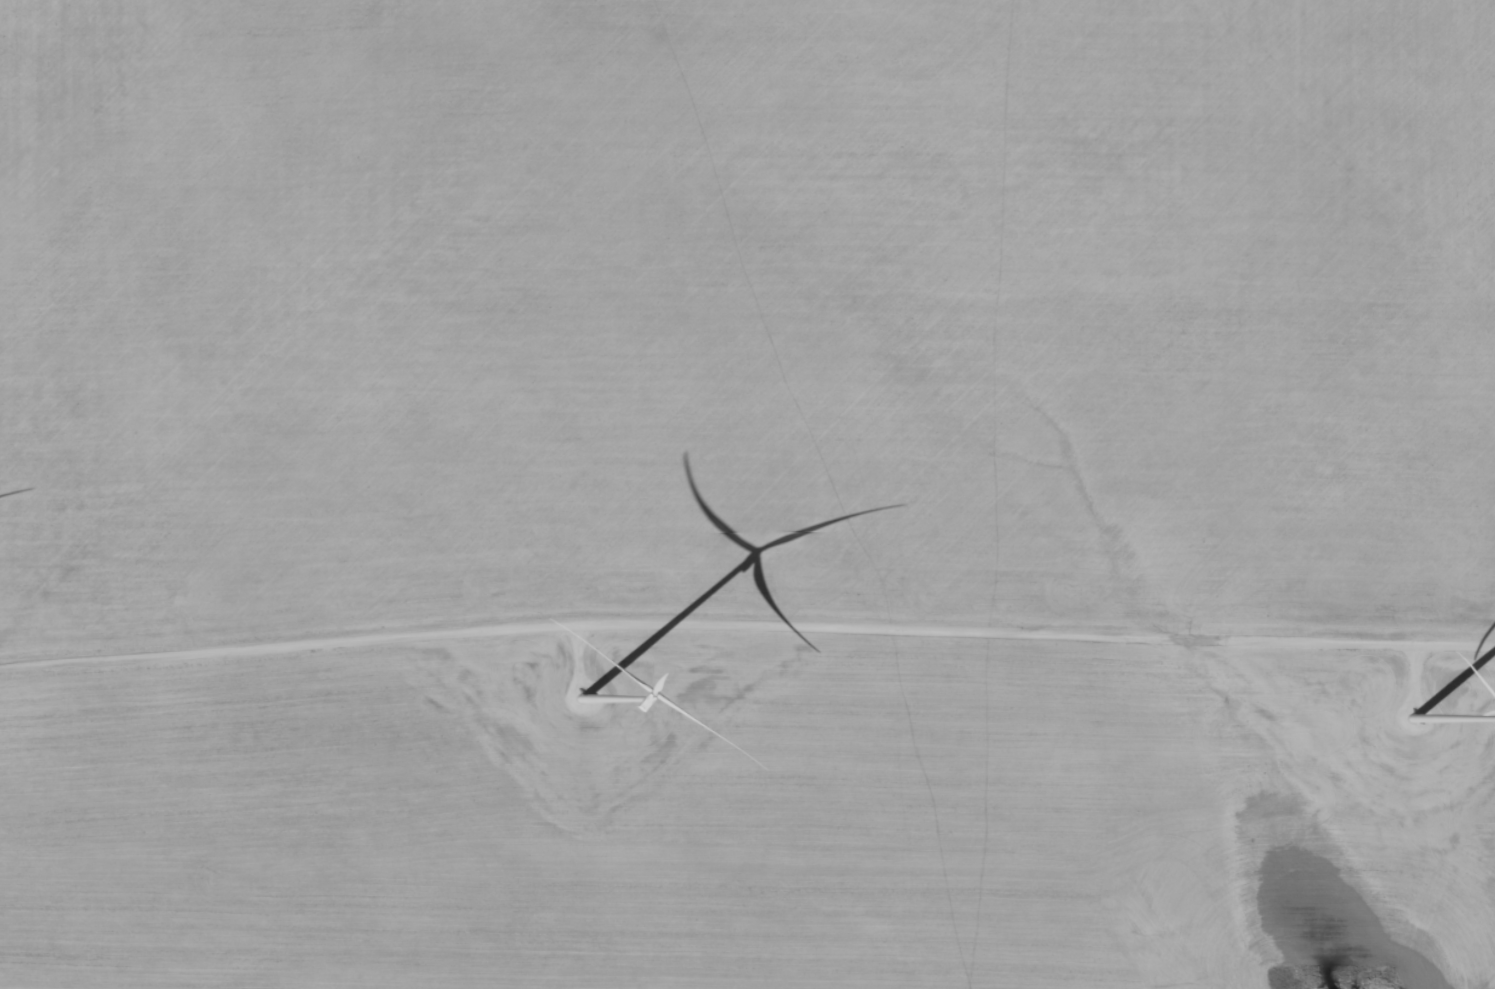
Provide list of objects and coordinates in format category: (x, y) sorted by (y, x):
wind turbine: (567, 686)
wind turbine: (1416, 709)

